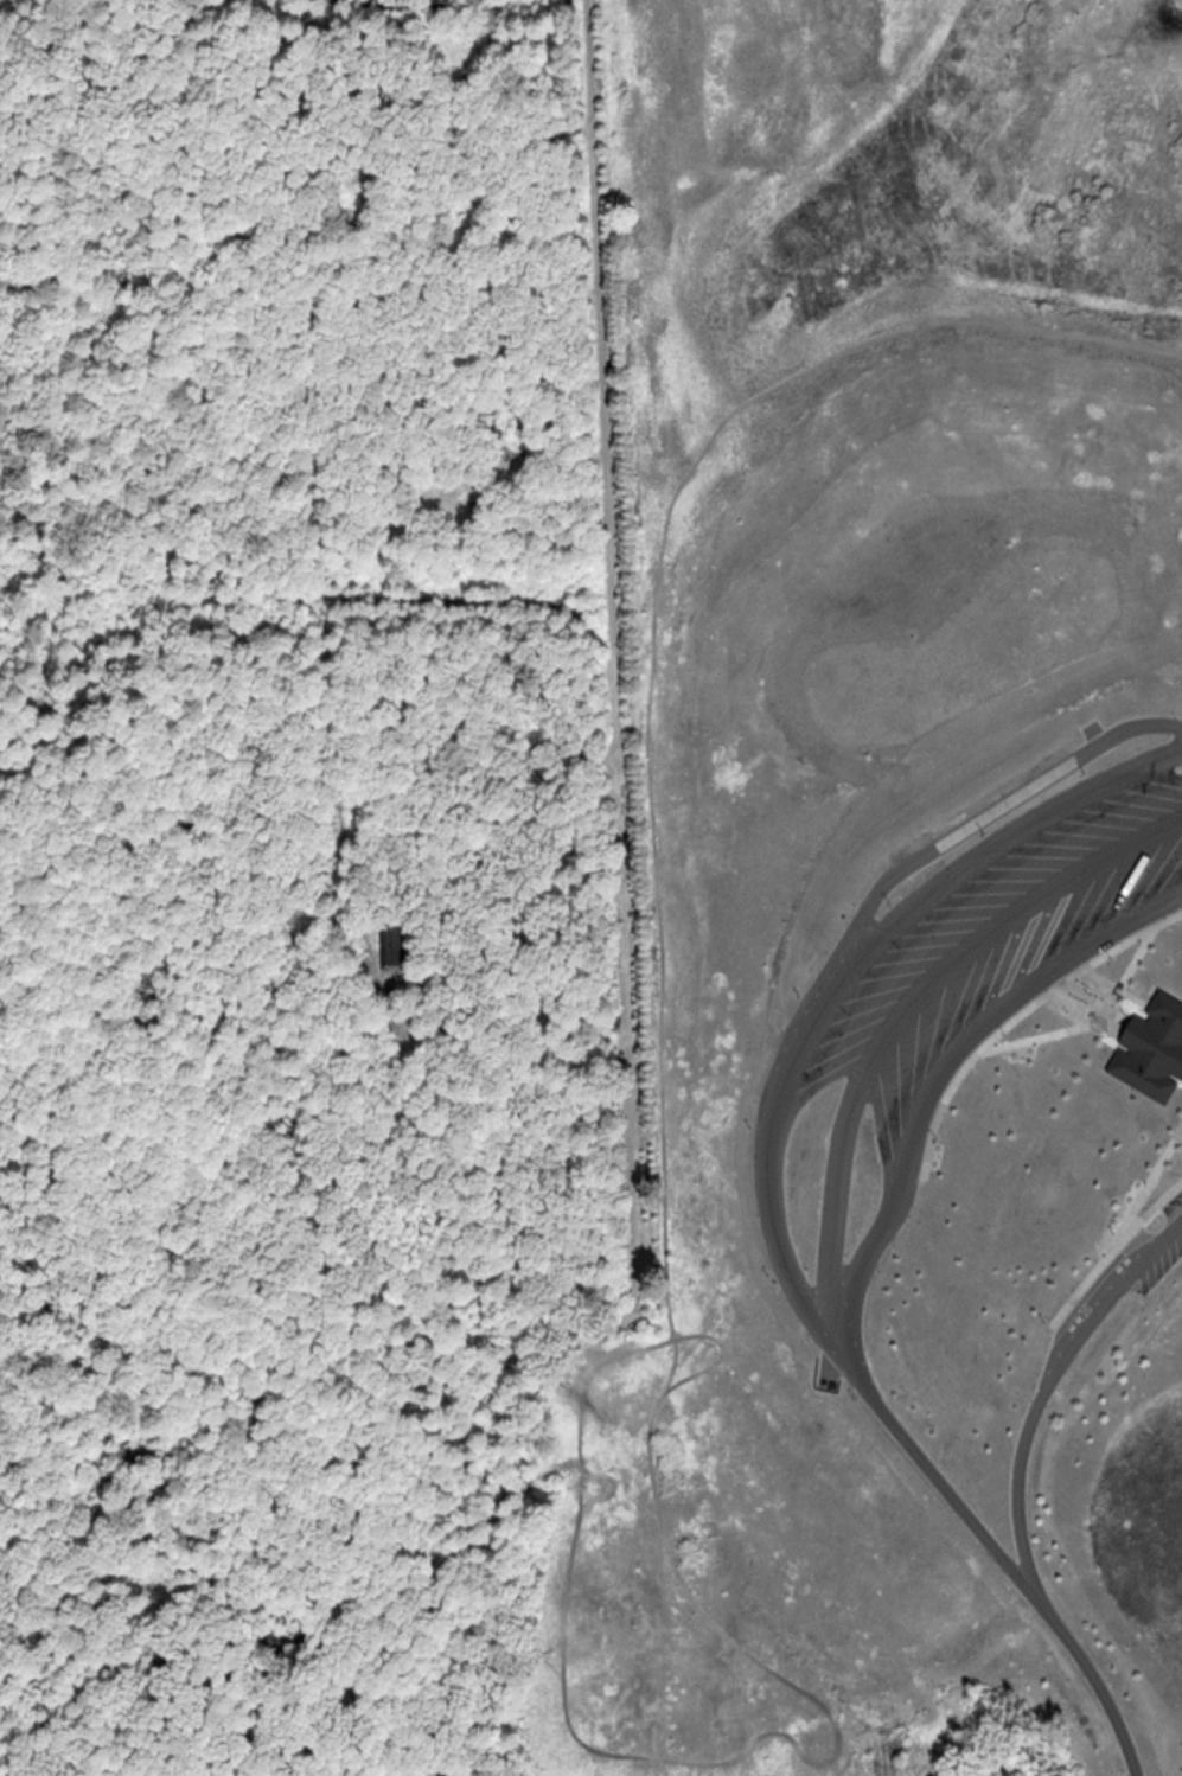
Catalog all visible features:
road: (611, 551)
road: (988, 816)
building: (395, 943)
parking lot: (988, 947)
road: (841, 971)
road: (1116, 989)
road: (1094, 1002)
road: (1018, 1016)
road: (1091, 1027)
building: (1152, 1040)
road: (946, 1069)
road: (843, 1152)
road: (1145, 1188)
road: (1113, 1251)
parking lot: (1164, 1252)
road: (1053, 1387)
road: (1097, 1675)

